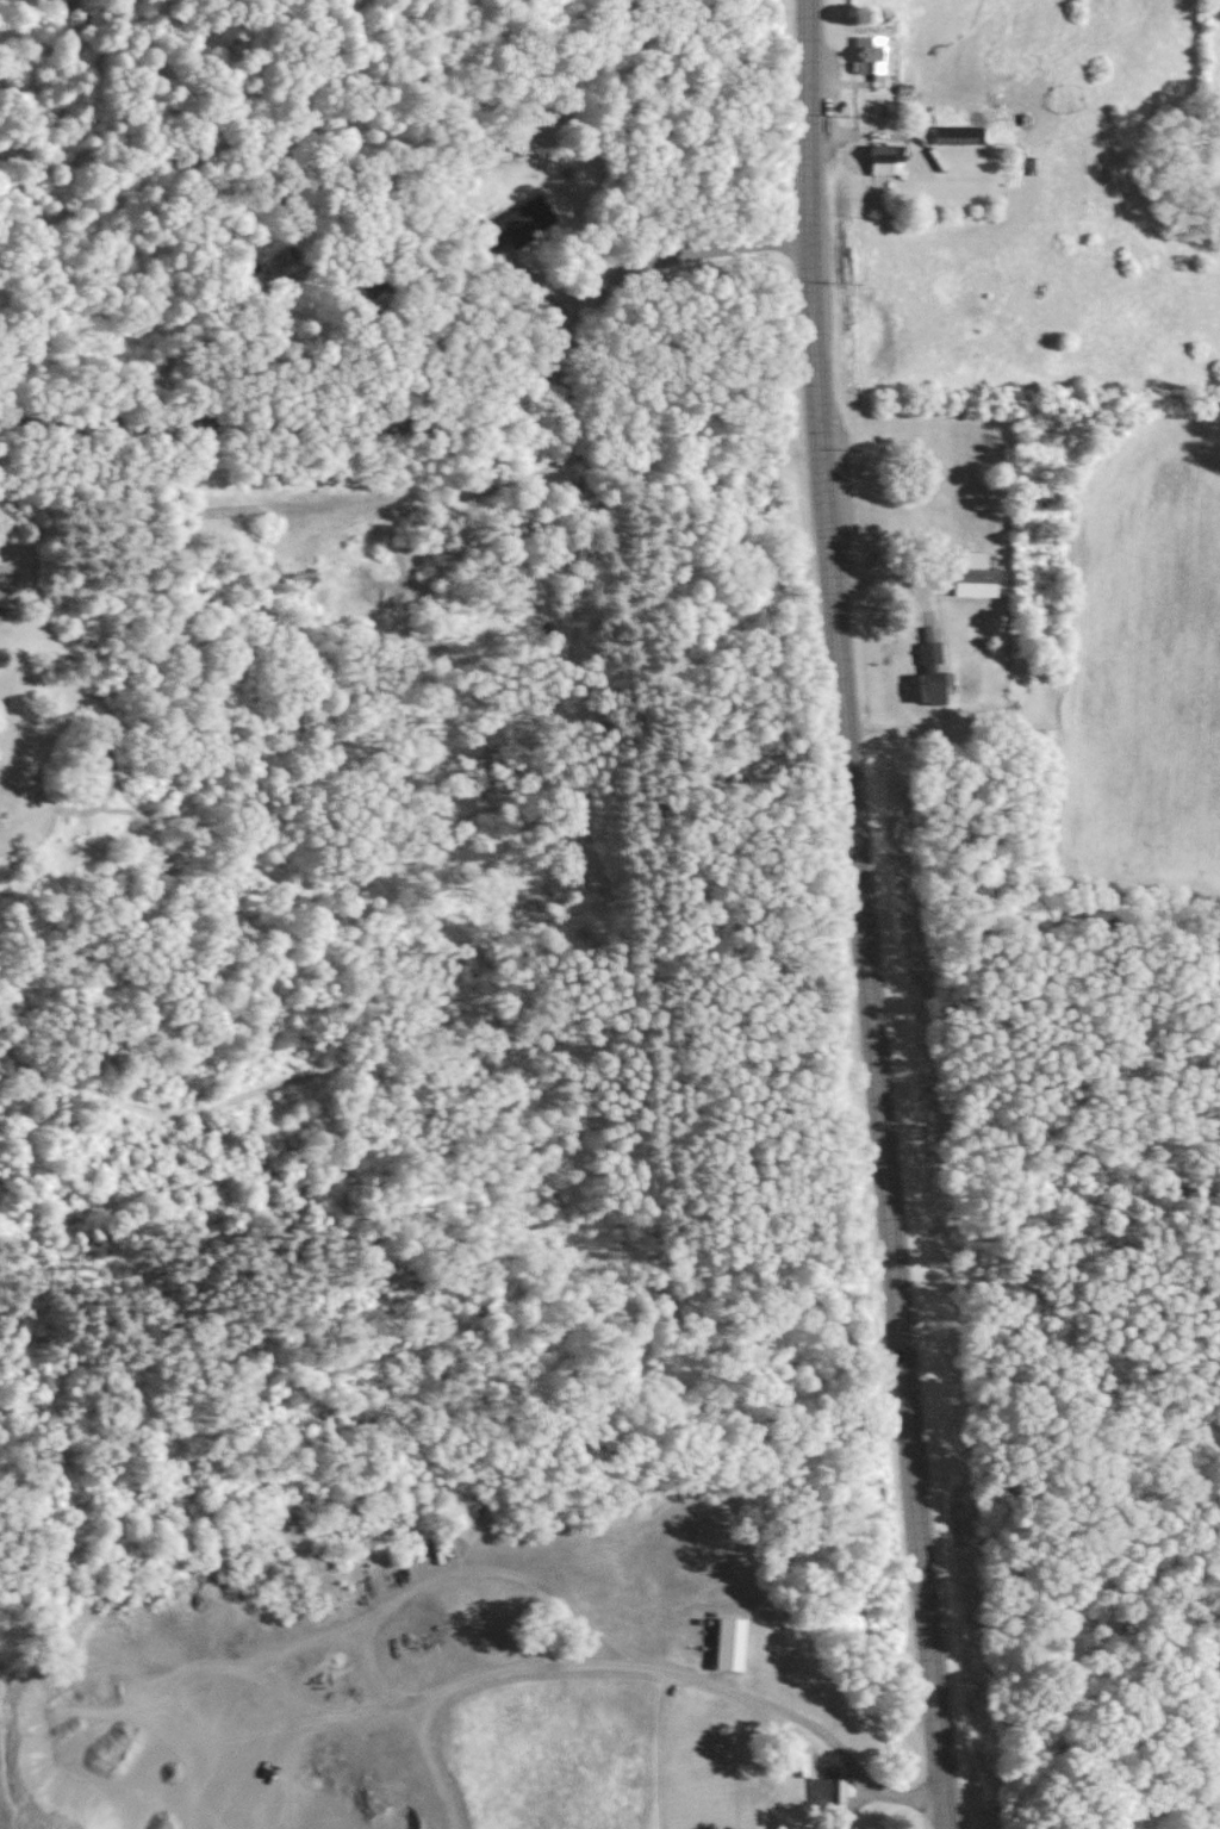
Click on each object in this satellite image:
building: (870, 55)
building: (957, 135)
building: (889, 160)
road: (443, 427)
building: (976, 576)
building: (930, 672)
road: (867, 914)
building: (732, 1643)
road: (873, 1777)
building: (829, 1791)

